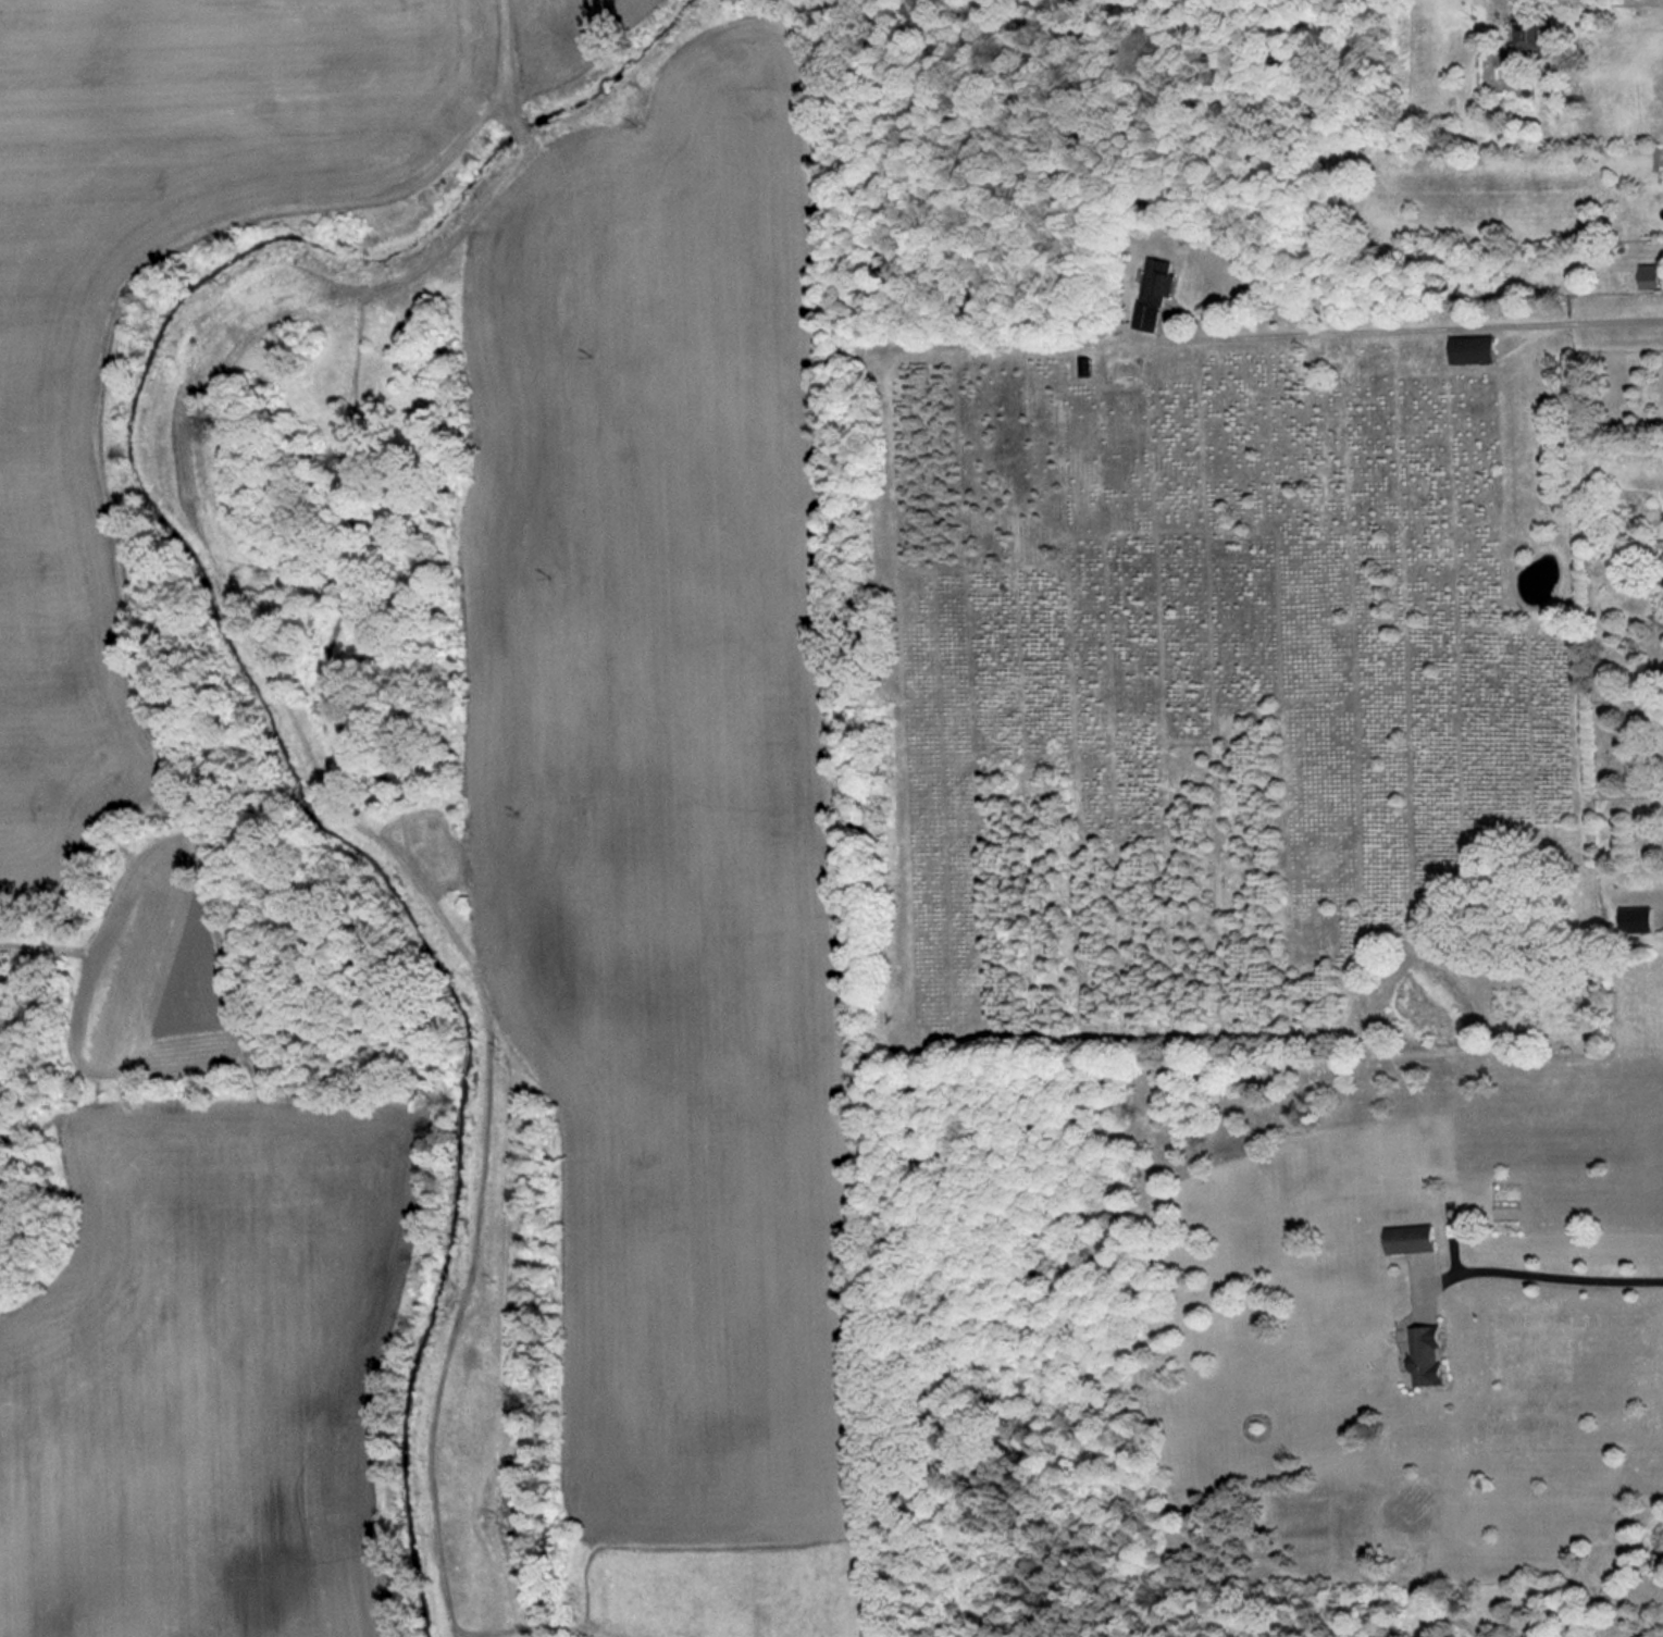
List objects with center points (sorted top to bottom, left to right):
building: (1537, 38)
building: (1653, 278)
building: (1157, 294)
building: (1477, 352)
building: (1640, 921)
building: (1415, 1242)
building: (1431, 1357)

